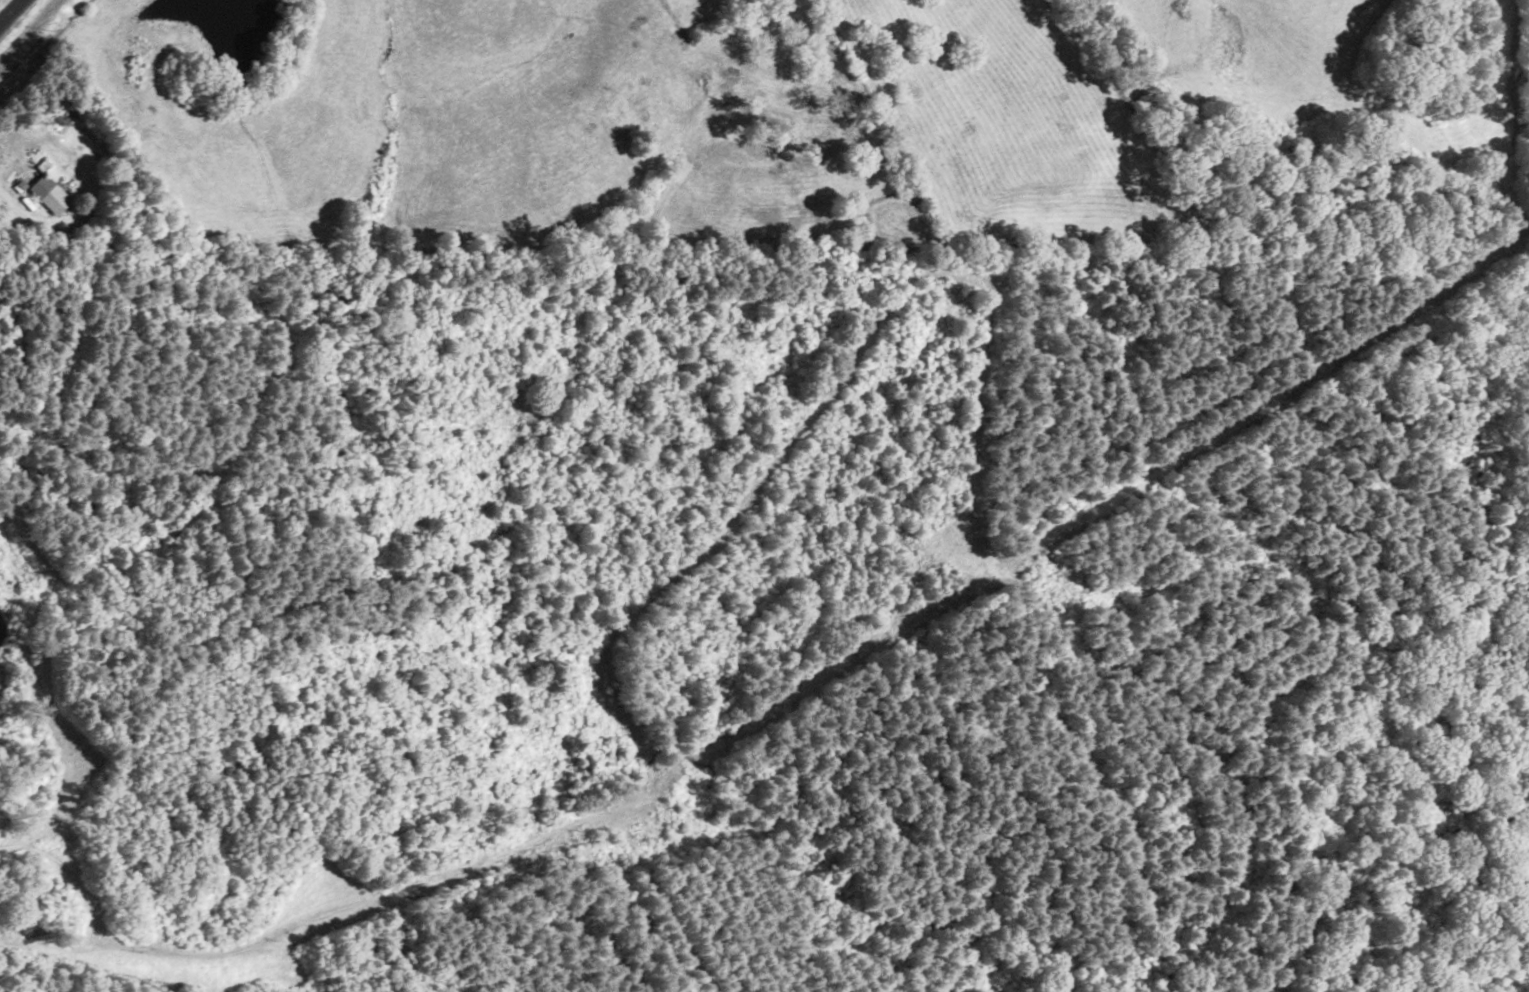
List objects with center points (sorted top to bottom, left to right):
road: (14, 15)
building: (49, 193)
building: (32, 918)

